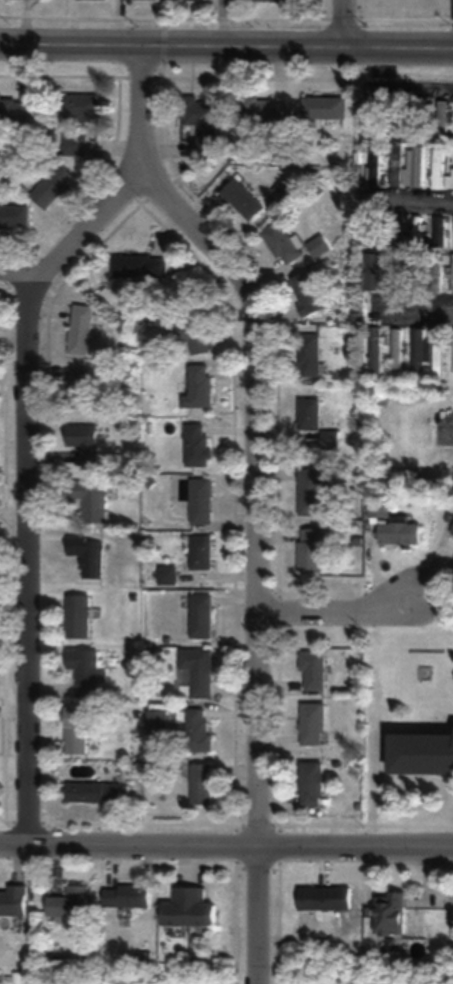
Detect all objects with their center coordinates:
building: (279, 0)
road: (223, 22)
road: (341, 22)
road: (226, 45)
road: (397, 88)
building: (83, 107)
building: (16, 108)
building: (330, 109)
building: (268, 114)
building: (380, 120)
building: (442, 120)
building: (203, 123)
building: (418, 128)
building: (400, 131)
building: (75, 146)
building: (440, 163)
building: (397, 165)
building: (416, 166)
building: (374, 167)
building: (54, 187)
building: (243, 201)
road: (414, 204)
building: (15, 216)
building: (419, 231)
building: (440, 231)
building: (397, 241)
building: (283, 244)
building: (319, 247)
building: (141, 267)
road: (27, 269)
building: (309, 294)
road: (413, 312)
building: (82, 330)
building: (195, 338)
building: (440, 347)
building: (397, 348)
building: (418, 350)
building: (376, 351)
building: (310, 356)
building: (79, 387)
building: (200, 387)
building: (310, 414)
building: (85, 442)
building: (197, 444)
road: (27, 483)
building: (311, 492)
road: (256, 495)
building: (202, 500)
building: (94, 502)
building: (399, 533)
building: (452, 533)
building: (311, 550)
building: (202, 551)
building: (89, 554)
building: (168, 574)
road: (434, 586)
road: (338, 612)
building: (80, 615)
park: (1, 616)
building: (202, 616)
building: (87, 671)
building: (314, 672)
building: (197, 673)
building: (157, 721)
building: (313, 724)
building: (78, 730)
building: (200, 731)
building: (422, 754)
building: (312, 783)
building: (203, 784)
building: (95, 792)
road: (226, 843)
building: (128, 897)
building: (323, 898)
building: (14, 901)
building: (72, 902)
building: (190, 908)
building: (391, 915)
crop: (398, 979)
crop: (81, 982)

